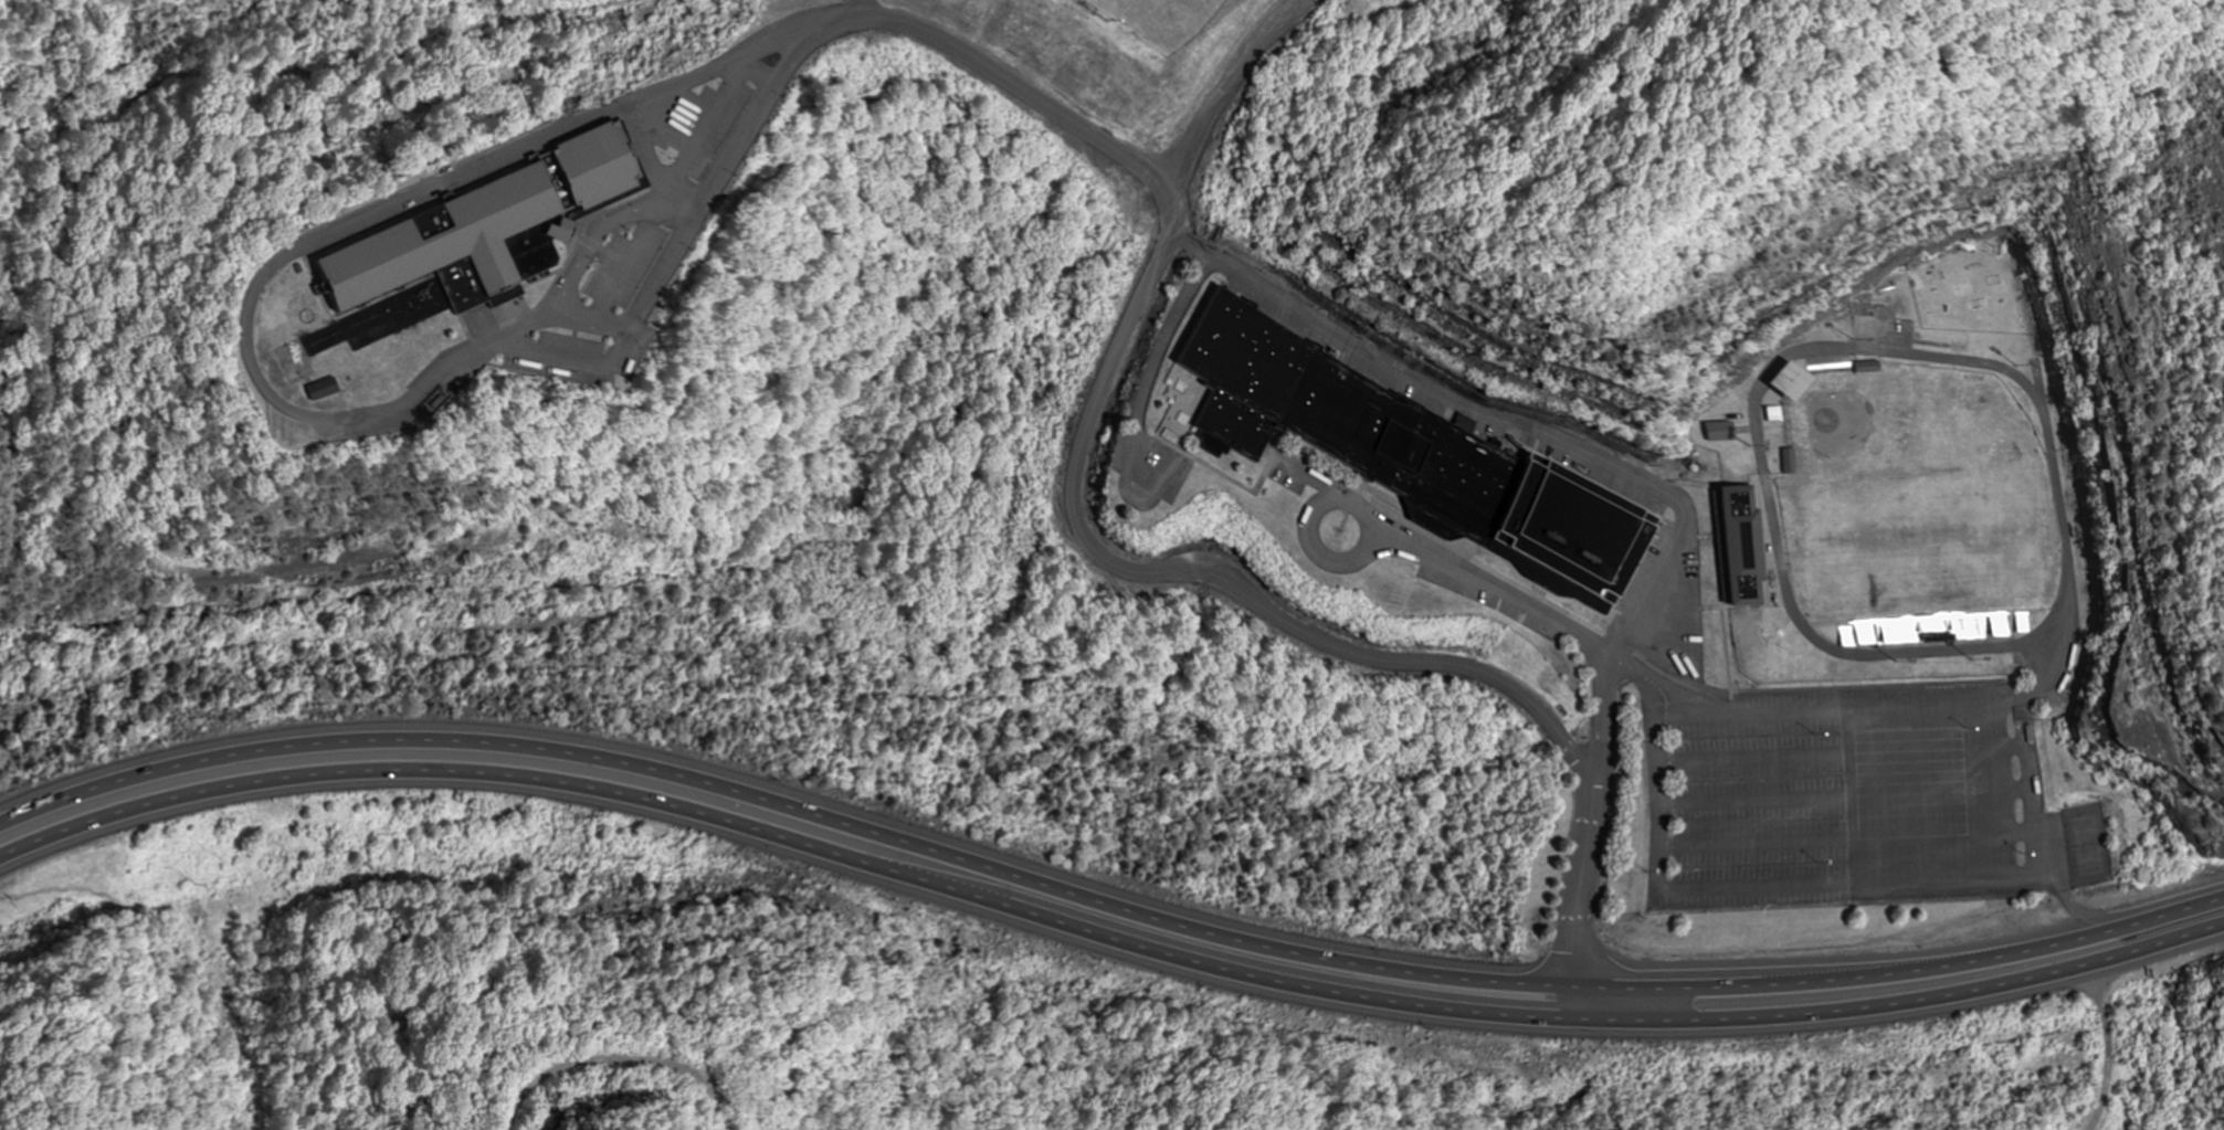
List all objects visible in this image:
building: (475, 232)
building: (1783, 382)
building: (317, 390)
building: (1716, 433)
building: (1400, 450)
building: (1731, 548)
road: (1102, 921)
road: (1103, 951)
road: (1553, 1014)

